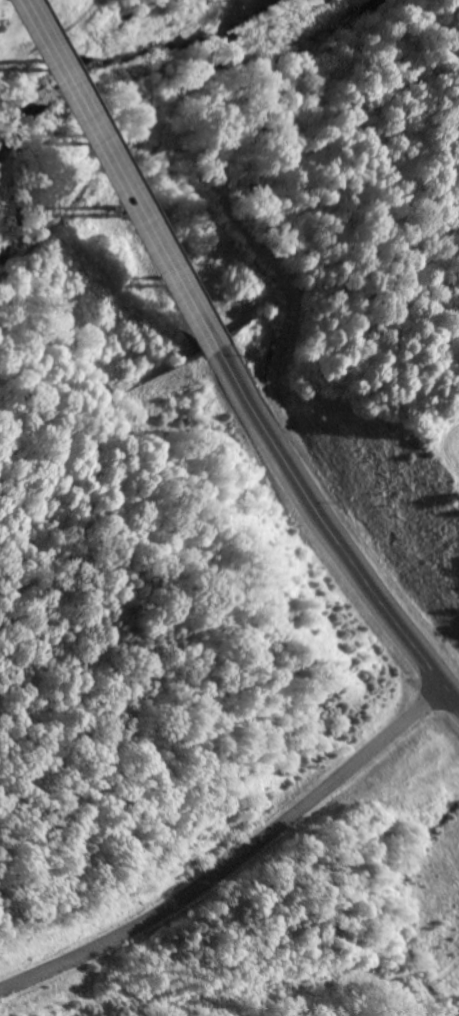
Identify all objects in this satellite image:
road: (115, 173)
road: (330, 519)
road: (240, 853)

